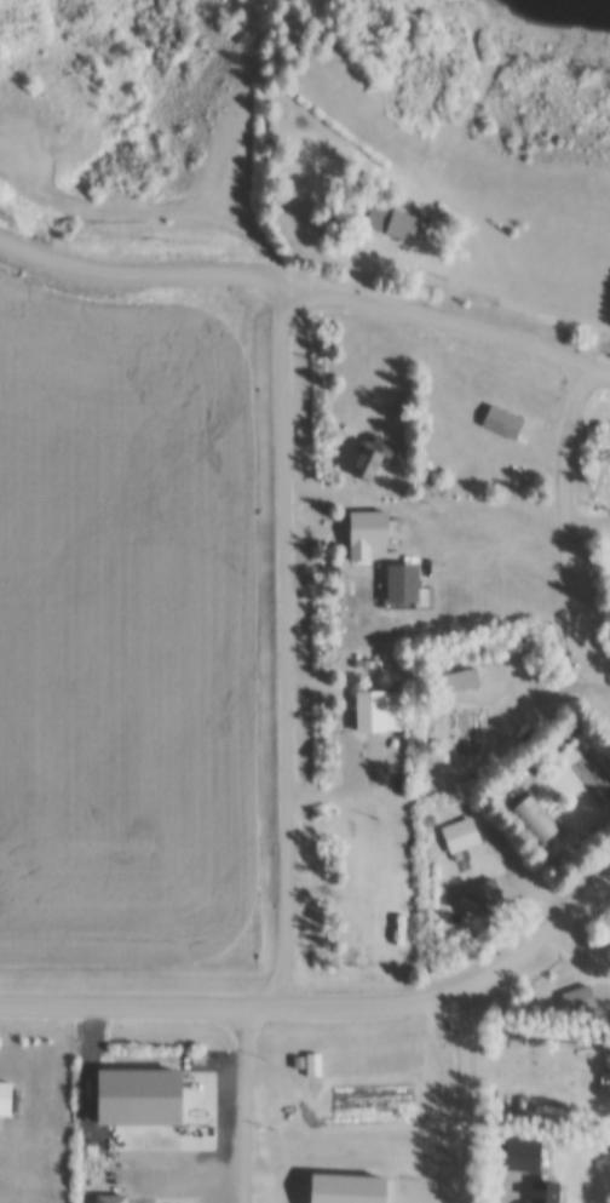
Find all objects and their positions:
road: (183, 204)
building: (392, 223)
road: (444, 351)
road: (600, 370)
building: (399, 413)
building: (503, 423)
building: (373, 457)
road: (328, 498)
road: (287, 502)
road: (564, 520)
building: (369, 534)
building: (404, 583)
building: (459, 682)
building: (380, 712)
building: (536, 820)
building: (462, 836)
building: (483, 900)
road: (466, 987)
building: (580, 1002)
road: (144, 1003)
building: (299, 1064)
building: (313, 1066)
building: (605, 1079)
road: (471, 1096)
building: (6, 1100)
road: (249, 1102)
building: (605, 1109)
building: (523, 1156)
building: (349, 1188)
building: (546, 1192)

